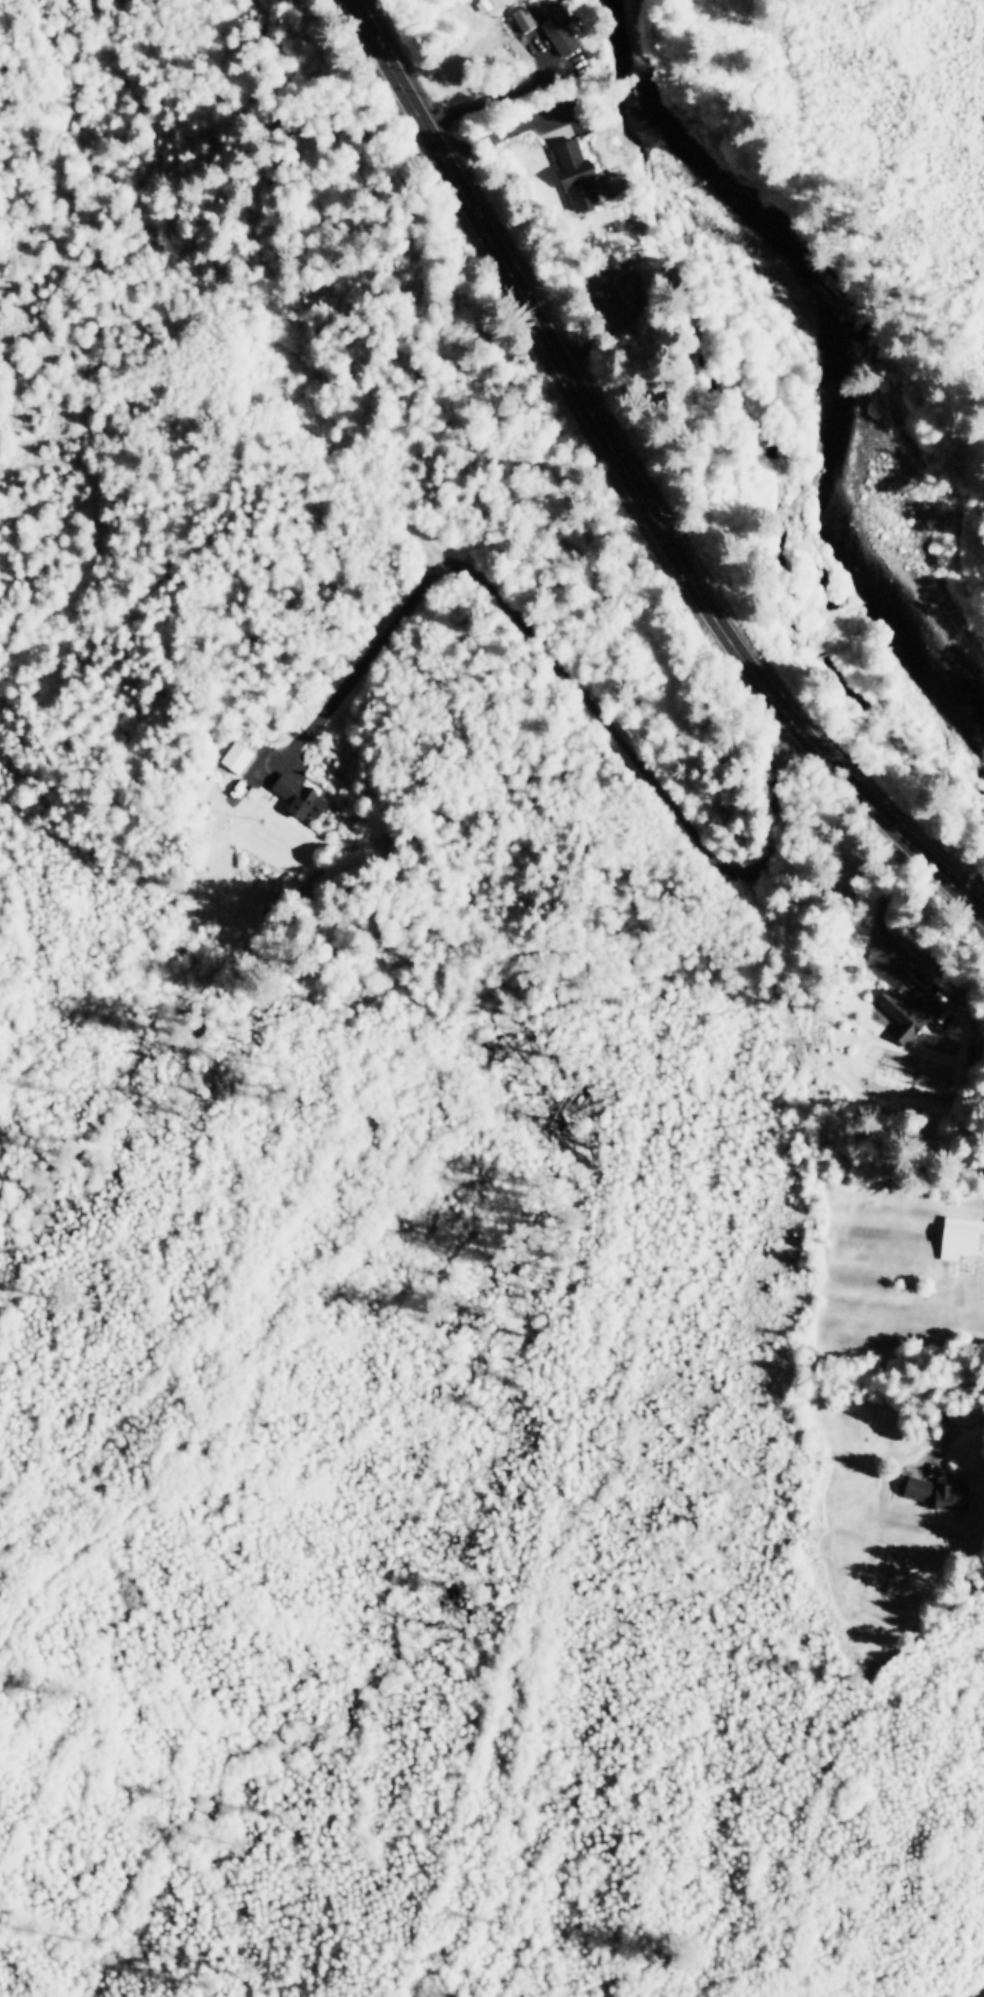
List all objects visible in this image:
building: (522, 17)
building: (554, 27)
building: (576, 174)
river: (848, 325)
road: (631, 482)
building: (236, 755)
building: (298, 795)
building: (908, 1009)
building: (958, 1236)
building: (929, 1489)
road: (85, 1553)
road: (980, 1993)

